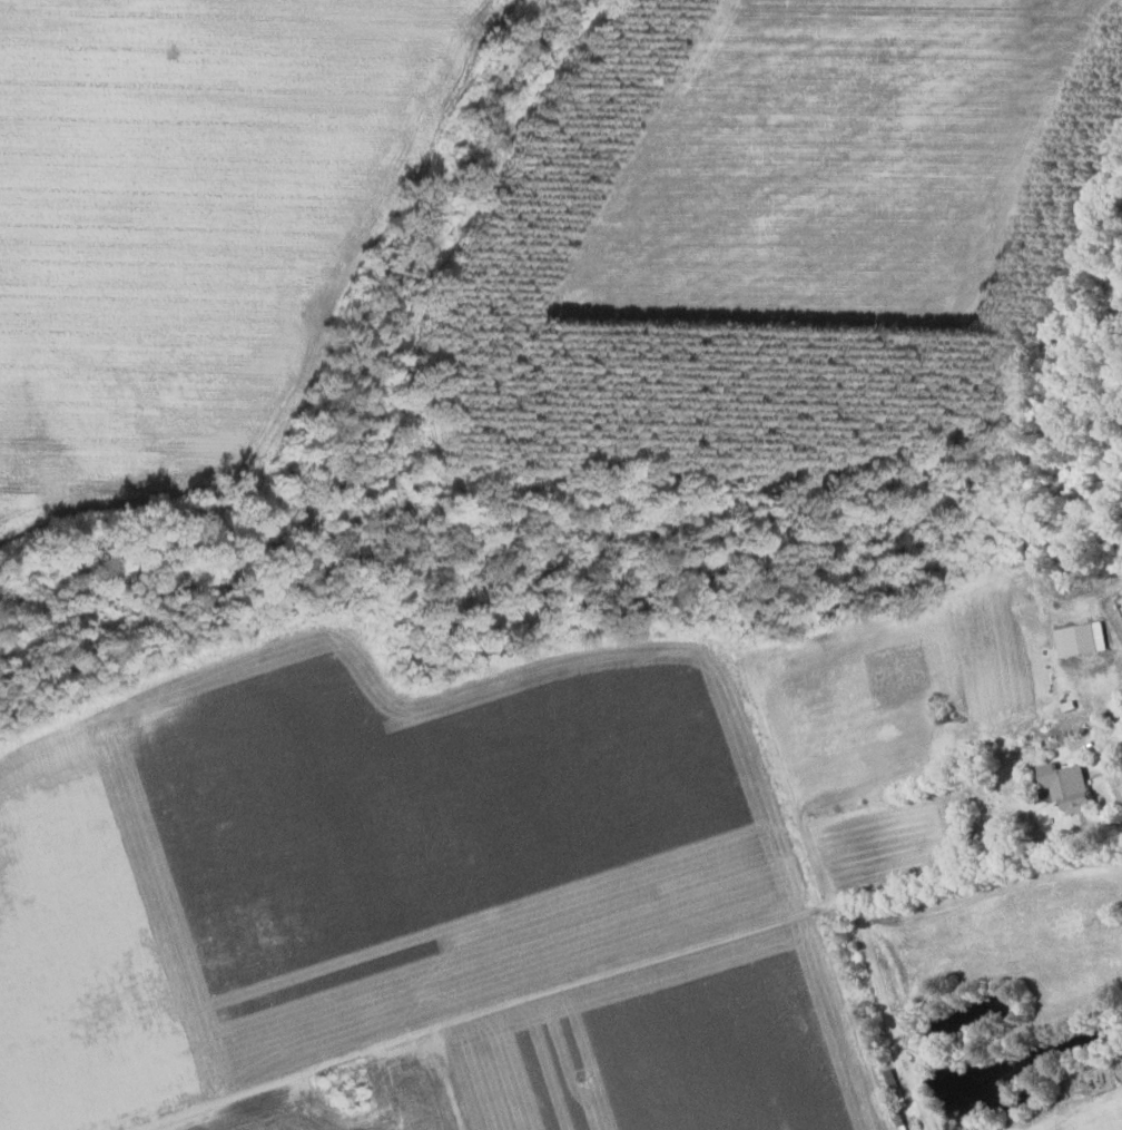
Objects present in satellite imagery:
building: (1065, 786)
road: (632, 970)
road: (888, 1018)
building: (888, 1078)

